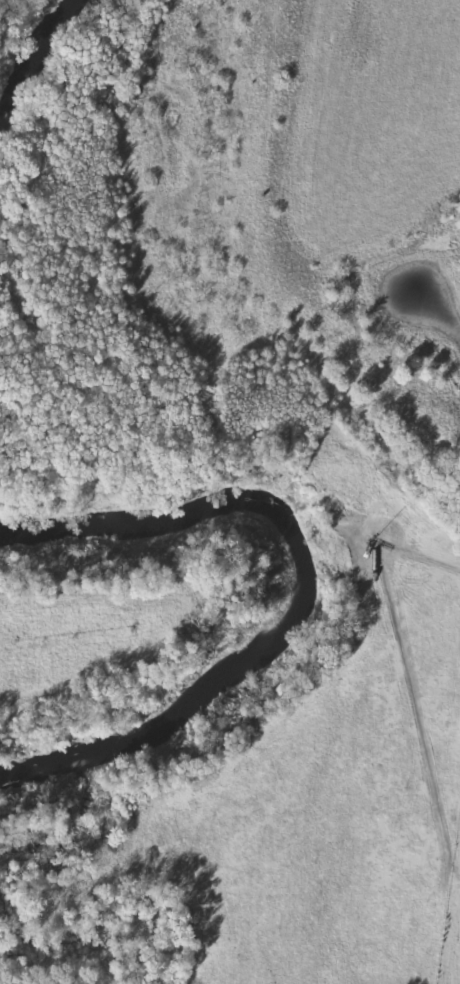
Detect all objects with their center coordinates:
river: (31, 51)
river: (295, 601)

